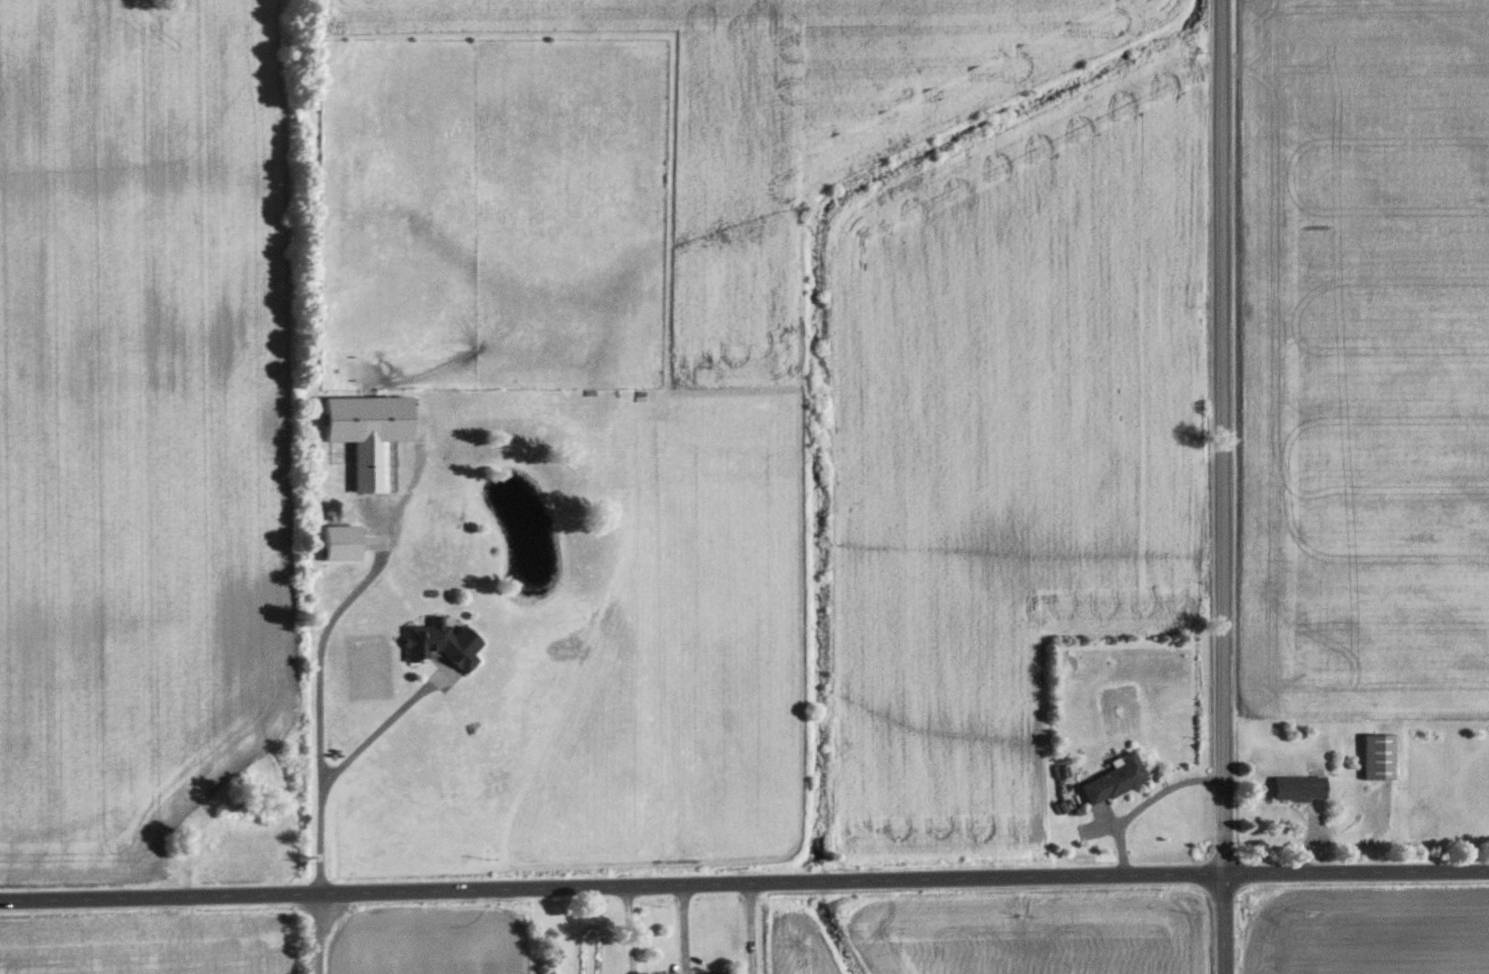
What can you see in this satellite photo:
building: (370, 433)
road: (1221, 436)
building: (344, 543)
road: (321, 626)
building: (443, 644)
building: (1380, 757)
road: (328, 770)
building: (1116, 779)
building: (1301, 789)
road: (1131, 791)
road: (744, 882)
road: (1226, 923)
road: (628, 929)
road: (313, 933)

